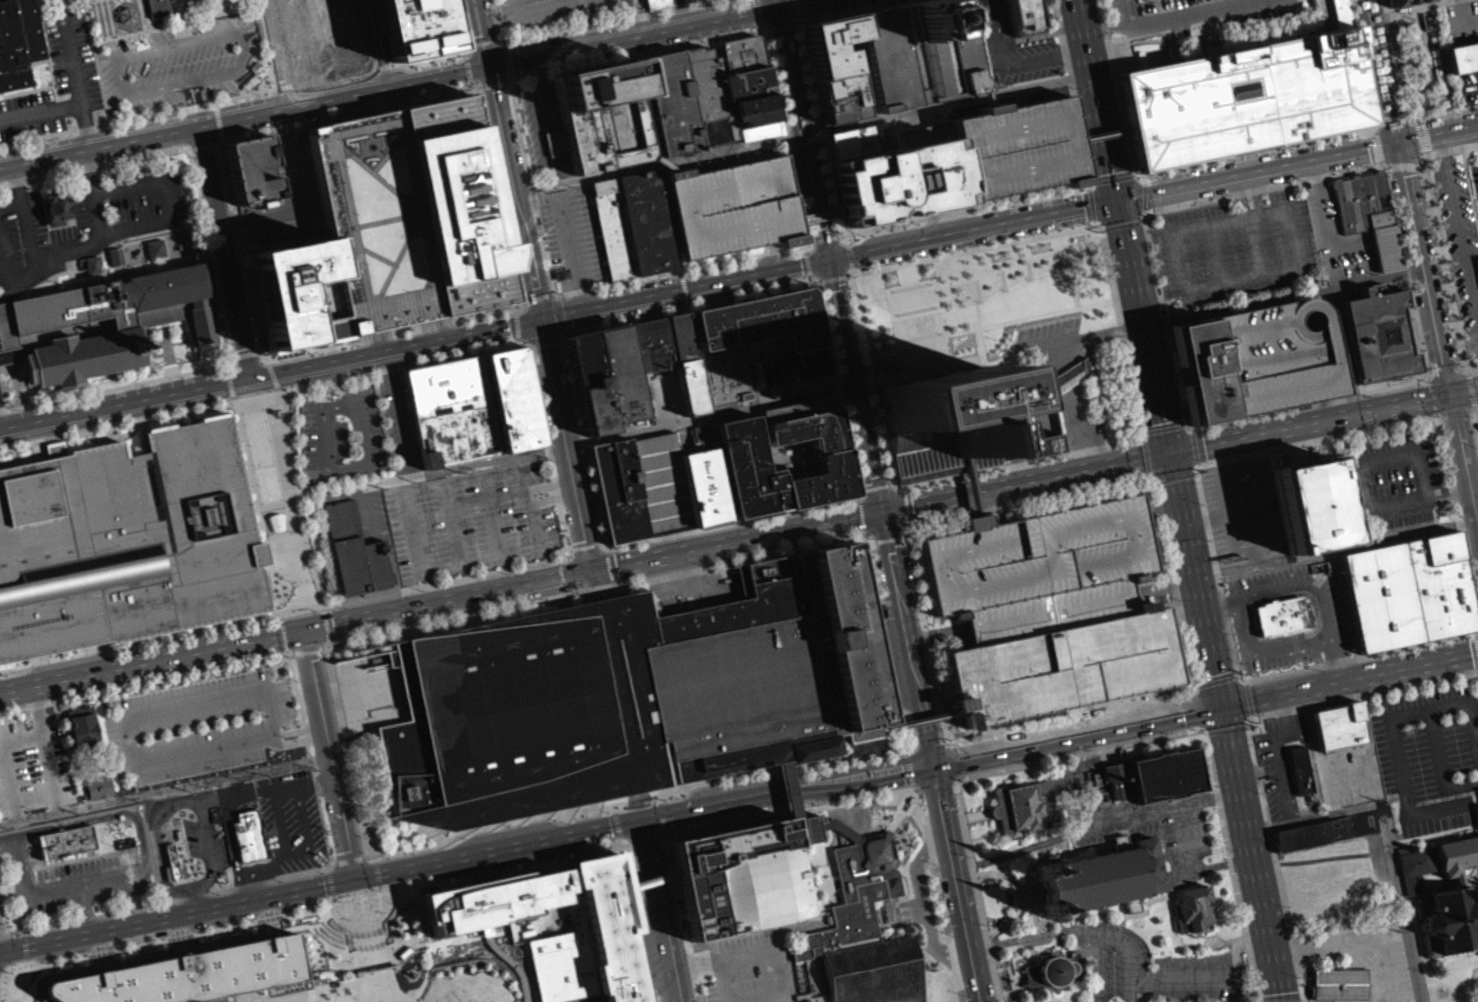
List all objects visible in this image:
road: (558, 3)
building: (661, 3)
building: (1404, 3)
road: (754, 6)
road: (809, 6)
road: (1385, 6)
building: (159, 7)
parking lot: (608, 7)
road: (1407, 7)
road: (540, 9)
road: (796, 9)
building: (585, 10)
road: (1461, 12)
road: (756, 13)
traffic signals: (778, 13)
road: (865, 13)
parking lot: (1190, 13)
road: (1130, 14)
parking lot: (534, 16)
road: (1175, 19)
road: (632, 20)
building: (1023, 20)
road: (608, 22)
road: (496, 23)
road: (582, 23)
road: (797, 23)
road: (592, 24)
building: (416, 27)
road: (460, 27)
road: (760, 29)
road: (794, 29)
road: (780, 32)
road: (767, 36)
building: (335, 40)
road: (498, 40)
road: (1040, 40)
building: (16, 41)
road: (485, 43)
building: (830, 50)
building: (743, 53)
road: (277, 54)
road: (464, 54)
parking lot: (1010, 54)
road: (634, 55)
building: (922, 58)
road: (509, 59)
road: (1362, 59)
building: (1463, 59)
parking lot: (175, 62)
road: (1397, 64)
road: (1089, 65)
road: (466, 68)
traffic signals: (489, 70)
road: (1009, 71)
road: (75, 74)
building: (253, 74)
parking lot: (57, 76)
road: (338, 76)
road: (511, 76)
road: (509, 79)
road: (121, 81)
road: (474, 81)
road: (493, 82)
building: (747, 82)
building: (253, 83)
road: (285, 85)
road: (1115, 87)
road: (389, 89)
road: (1071, 91)
building: (706, 94)
building: (1246, 95)
building: (672, 100)
building: (752, 102)
road: (215, 103)
building: (837, 105)
road: (183, 107)
road: (41, 110)
road: (341, 111)
road: (1441, 112)
building: (604, 115)
building: (755, 116)
road: (1391, 117)
road: (218, 119)
road: (1419, 119)
parking lot: (942, 126)
road: (801, 128)
building: (758, 129)
road: (817, 129)
road: (1373, 130)
road: (1437, 132)
road: (1423, 135)
road: (221, 136)
road: (803, 138)
road: (1104, 138)
building: (1103, 141)
traffic signals: (1397, 141)
road: (201, 143)
road: (1376, 147)
building: (847, 149)
parking lot: (847, 149)
road: (1449, 149)
road: (1261, 150)
building: (1015, 155)
parking lot: (1015, 155)
road: (1379, 162)
road: (1418, 164)
road: (95, 165)
road: (1401, 165)
road: (1369, 166)
road: (1385, 166)
road: (1256, 169)
building: (250, 172)
road: (1134, 175)
road: (1113, 178)
road: (1142, 178)
road: (1089, 188)
building: (896, 189)
parking lot: (896, 189)
road: (1255, 192)
road: (1241, 194)
road: (1145, 196)
traffic signals: (1116, 198)
road: (166, 199)
road: (1091, 203)
road: (11, 205)
road: (24, 213)
building: (730, 213)
parking garage: (730, 213)
building: (1369, 213)
road: (966, 214)
building: (56, 215)
road: (1325, 217)
building: (407, 219)
road: (1143, 219)
building: (817, 220)
parking lot: (86, 221)
building: (646, 221)
road: (1459, 221)
road: (1122, 223)
road: (970, 227)
building: (612, 228)
road: (1102, 228)
parking lot: (572, 230)
parking lot: (1333, 234)
road: (825, 237)
road: (844, 238)
road: (86, 242)
road: (1255, 243)
parking lot: (1461, 243)
road: (806, 247)
parking lot: (1234, 247)
road: (1217, 251)
road: (850, 252)
road: (224, 253)
building: (154, 255)
traffic signals: (826, 258)
road: (806, 262)
building: (114, 263)
road: (1423, 263)
road: (5, 268)
road: (1444, 268)
building: (91, 269)
road: (665, 272)
road: (680, 272)
road: (853, 272)
road: (808, 274)
road: (833, 277)
road: (819, 280)
road: (1181, 287)
road: (532, 288)
road: (683, 288)
road: (761, 290)
building: (291, 293)
road: (1283, 296)
road: (553, 300)
road: (959, 303)
road: (556, 320)
road: (1047, 321)
building: (102, 322)
traffic signals: (539, 322)
building: (913, 330)
building: (1378, 332)
road: (1121, 335)
road: (560, 337)
road: (557, 342)
building: (750, 343)
road: (541, 345)
road: (413, 347)
road: (1346, 348)
building: (648, 352)
road: (1068, 353)
road: (1015, 355)
building: (1277, 355)
parking garage: (1277, 355)
road: (696, 361)
building: (683, 369)
building: (1199, 370)
building: (787, 372)
road: (1071, 374)
building: (1068, 376)
road: (1428, 377)
building: (616, 379)
road: (323, 386)
road: (339, 386)
road: (1036, 386)
road: (852, 387)
building: (586, 389)
road: (1471, 390)
building: (798, 391)
traffic signals: (1449, 391)
road: (262, 395)
road: (1099, 401)
road: (1308, 404)
building: (472, 406)
road: (1474, 408)
parking lot: (1477, 411)
road: (402, 413)
road: (1456, 413)
parking lot: (647, 414)
building: (795, 414)
road: (1324, 418)
parking lot: (400, 420)
road: (709, 421)
road: (1416, 421)
road: (1475, 423)
road: (1165, 424)
building: (941, 425)
road: (1081, 425)
road: (0, 427)
road: (687, 431)
road: (114, 435)
building: (805, 436)
parking lot: (338, 441)
building: (1043, 445)
traffic signals: (1171, 451)
road: (845, 453)
road: (827, 457)
road: (359, 463)
road: (446, 468)
building: (742, 472)
road: (1023, 480)
parking lot: (1395, 484)
road: (547, 485)
building: (818, 487)
road: (1363, 487)
building: (658, 490)
parking lot: (658, 490)
road: (873, 492)
building: (701, 494)
building: (774, 496)
road: (859, 496)
building: (616, 497)
road: (550, 499)
road: (855, 505)
road: (530, 506)
park: (274, 508)
road: (468, 509)
building: (1306, 510)
road: (1477, 514)
road: (492, 515)
traffic signals: (878, 517)
parking lot: (471, 518)
parking lot: (1241, 519)
road: (859, 522)
road: (451, 523)
road: (411, 530)
road: (660, 544)
building: (125, 546)
road: (733, 546)
road: (598, 550)
road: (1339, 551)
road: (581, 553)
building: (351, 556)
road: (569, 556)
road: (604, 557)
road: (607, 573)
traffic signals: (590, 577)
road: (412, 586)
building: (1408, 590)
road: (447, 603)
road: (1224, 606)
building: (1050, 610)
parking garage: (1050, 610)
building: (1280, 615)
road: (901, 616)
parking lot: (1336, 617)
road: (1316, 625)
traffic signals: (305, 629)
road: (1325, 635)
building: (845, 644)
road: (1362, 655)
road: (152, 660)
road: (280, 667)
road: (1351, 678)
road: (144, 683)
building: (603, 702)
traffic signals: (1224, 704)
road: (149, 708)
road: (925, 718)
building: (919, 719)
parking lot: (201, 724)
building: (1338, 724)
building: (83, 726)
road: (1391, 731)
road: (1078, 735)
road: (1475, 736)
parking lot: (1428, 740)
road: (929, 744)
road: (45, 748)
road: (330, 756)
road: (1277, 757)
road: (4, 759)
parking lot: (1277, 760)
road: (1440, 764)
parking lot: (34, 765)
traffic signals: (932, 767)
building: (1301, 769)
road: (1257, 773)
building: (1165, 774)
building: (150, 779)
road: (862, 780)
road: (296, 784)
building: (96, 787)
road: (164, 789)
road: (247, 792)
road: (934, 792)
road: (911, 793)
road: (1316, 793)
road: (787, 794)
building: (787, 797)
road: (916, 797)
road: (208, 801)
building: (1020, 803)
road: (899, 807)
road: (711, 810)
road: (908, 812)
road: (163, 813)
parking lot: (1437, 814)
road: (102, 815)
road: (787, 818)
parking lot: (292, 820)
road: (1094, 822)
road: (1131, 825)
traffic signals: (640, 826)
parking lot: (1149, 826)
road: (890, 830)
road: (1113, 831)
building: (1313, 832)
building: (836, 834)
building: (249, 835)
road: (1387, 835)
building: (66, 840)
parking lot: (206, 843)
road: (233, 844)
road: (1035, 844)
road: (1063, 844)
road: (898, 848)
road: (1082, 848)
road: (1252, 852)
road: (156, 853)
road: (85, 855)
building: (1457, 855)
road: (64, 857)
road: (211, 857)
road: (20, 859)
road: (39, 859)
road: (349, 864)
building: (174, 865)
road: (930, 865)
building: (1414, 865)
road: (899, 866)
road: (1190, 869)
road: (995, 870)
road: (260, 871)
road: (166, 873)
road: (894, 873)
building: (1101, 877)
road: (374, 879)
parking lot: (82, 882)
road: (247, 882)
building: (743, 882)
road: (902, 882)
road: (168, 884)
traffic signals: (351, 884)
parking lot: (941, 884)
road: (956, 884)
building: (649, 886)
road: (51, 889)
road: (387, 889)
road: (1029, 889)
road: (320, 890)
road: (328, 892)
road: (979, 892)
road: (1021, 894)
road: (1026, 894)
road: (383, 897)
road: (198, 898)
road: (939, 905)
road: (1018, 905)
road: (84, 907)
building: (490, 907)
building: (1193, 907)
road: (922, 909)
road: (658, 913)
road: (1130, 915)
parking lot: (906, 917)
parking lot: (948, 918)
building: (1448, 918)
road: (1044, 920)
road: (811, 921)
park: (841, 922)
road: (997, 928)
road: (680, 929)
road: (680, 930)
road: (314, 933)
building: (862, 933)
road: (5, 934)
road: (317, 934)
road: (1031, 935)
road: (1358, 940)
building: (587, 941)
road: (323, 949)
road: (26, 952)
parking lot: (1366, 952)
road: (416, 954)
road: (1131, 954)
road: (354, 955)
road: (174, 956)
parking lot: (1114, 957)
building: (402, 958)
parking lot: (754, 966)
road: (1098, 966)
building: (1055, 969)
road: (1211, 975)
parking lot: (1196, 977)
building: (191, 978)
building: (1340, 982)
road: (332, 986)
stadium: (405, 986)
road: (374, 989)
road: (6, 990)
road: (956, 990)
road: (21, 995)
road: (251, 995)
parking lot: (964, 996)
road: (395, 998)
road: (13, 999)
road: (376, 999)
road: (221, 1001)

